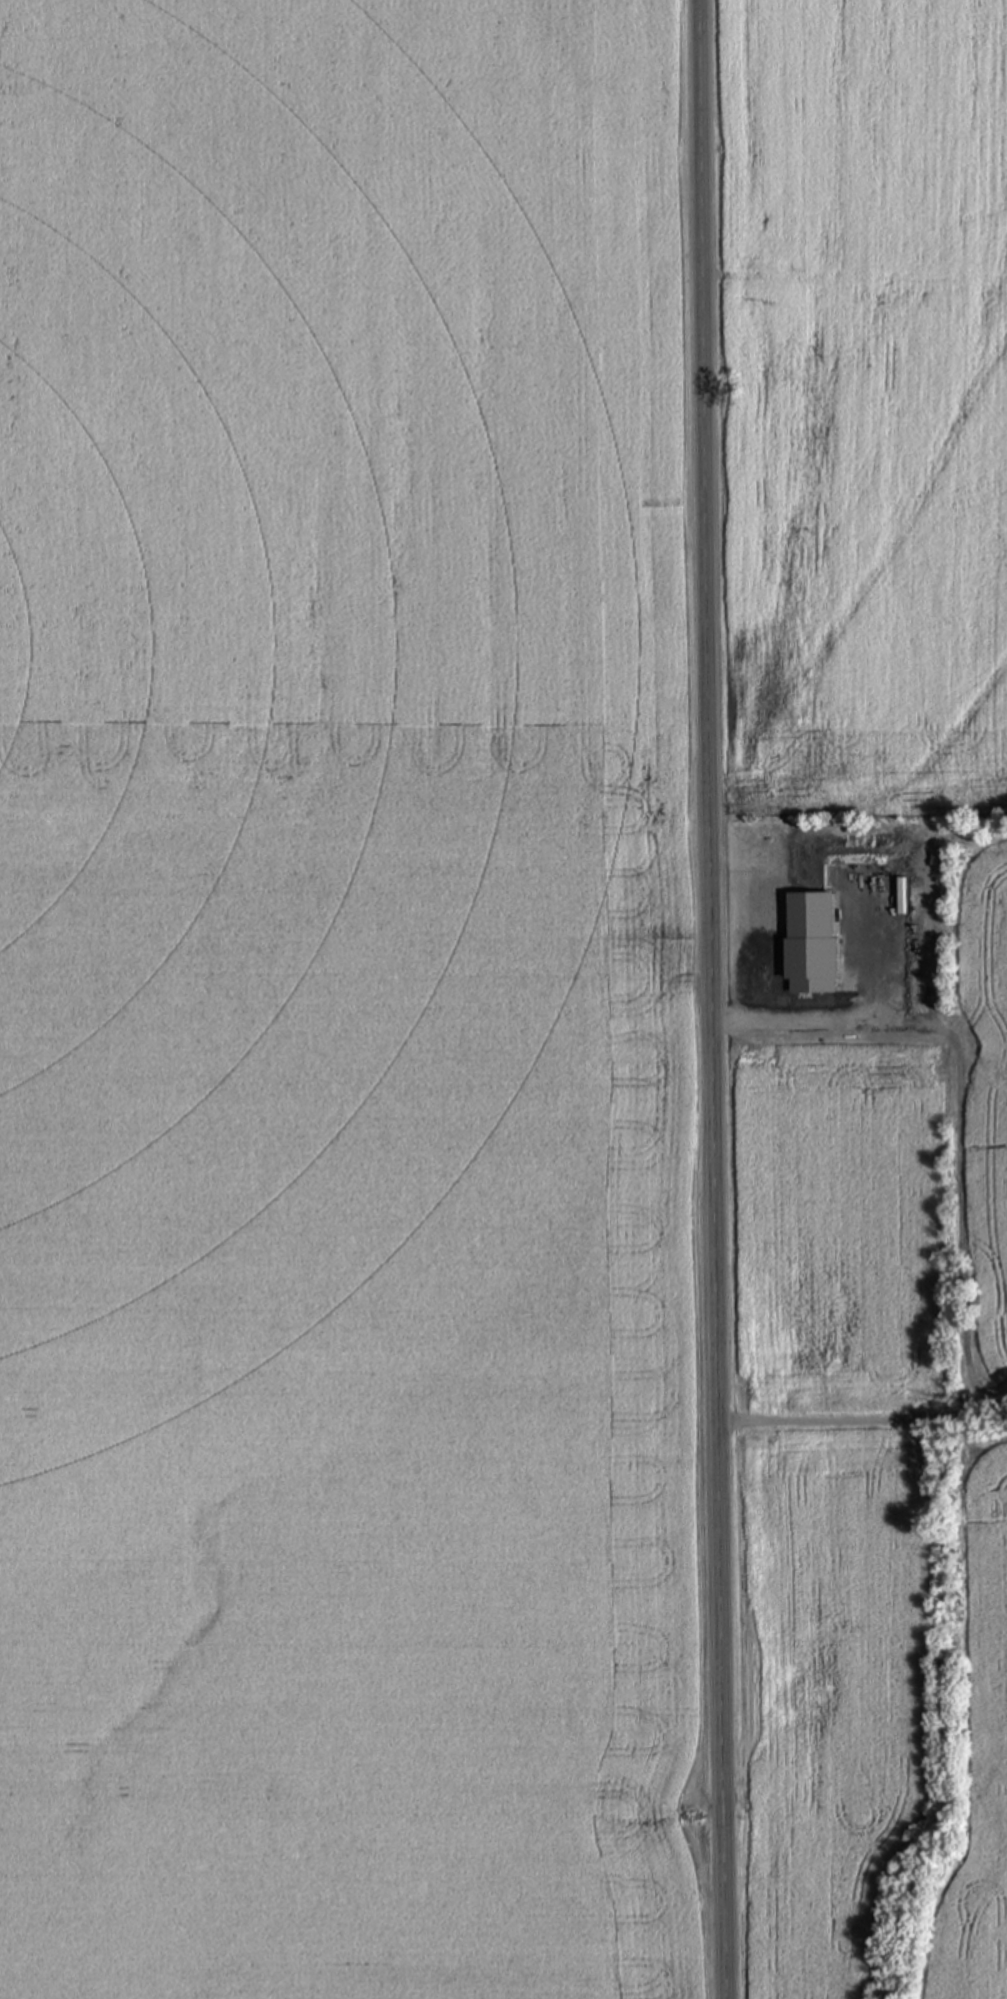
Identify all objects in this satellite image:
road: (715, 999)
road: (869, 1420)

